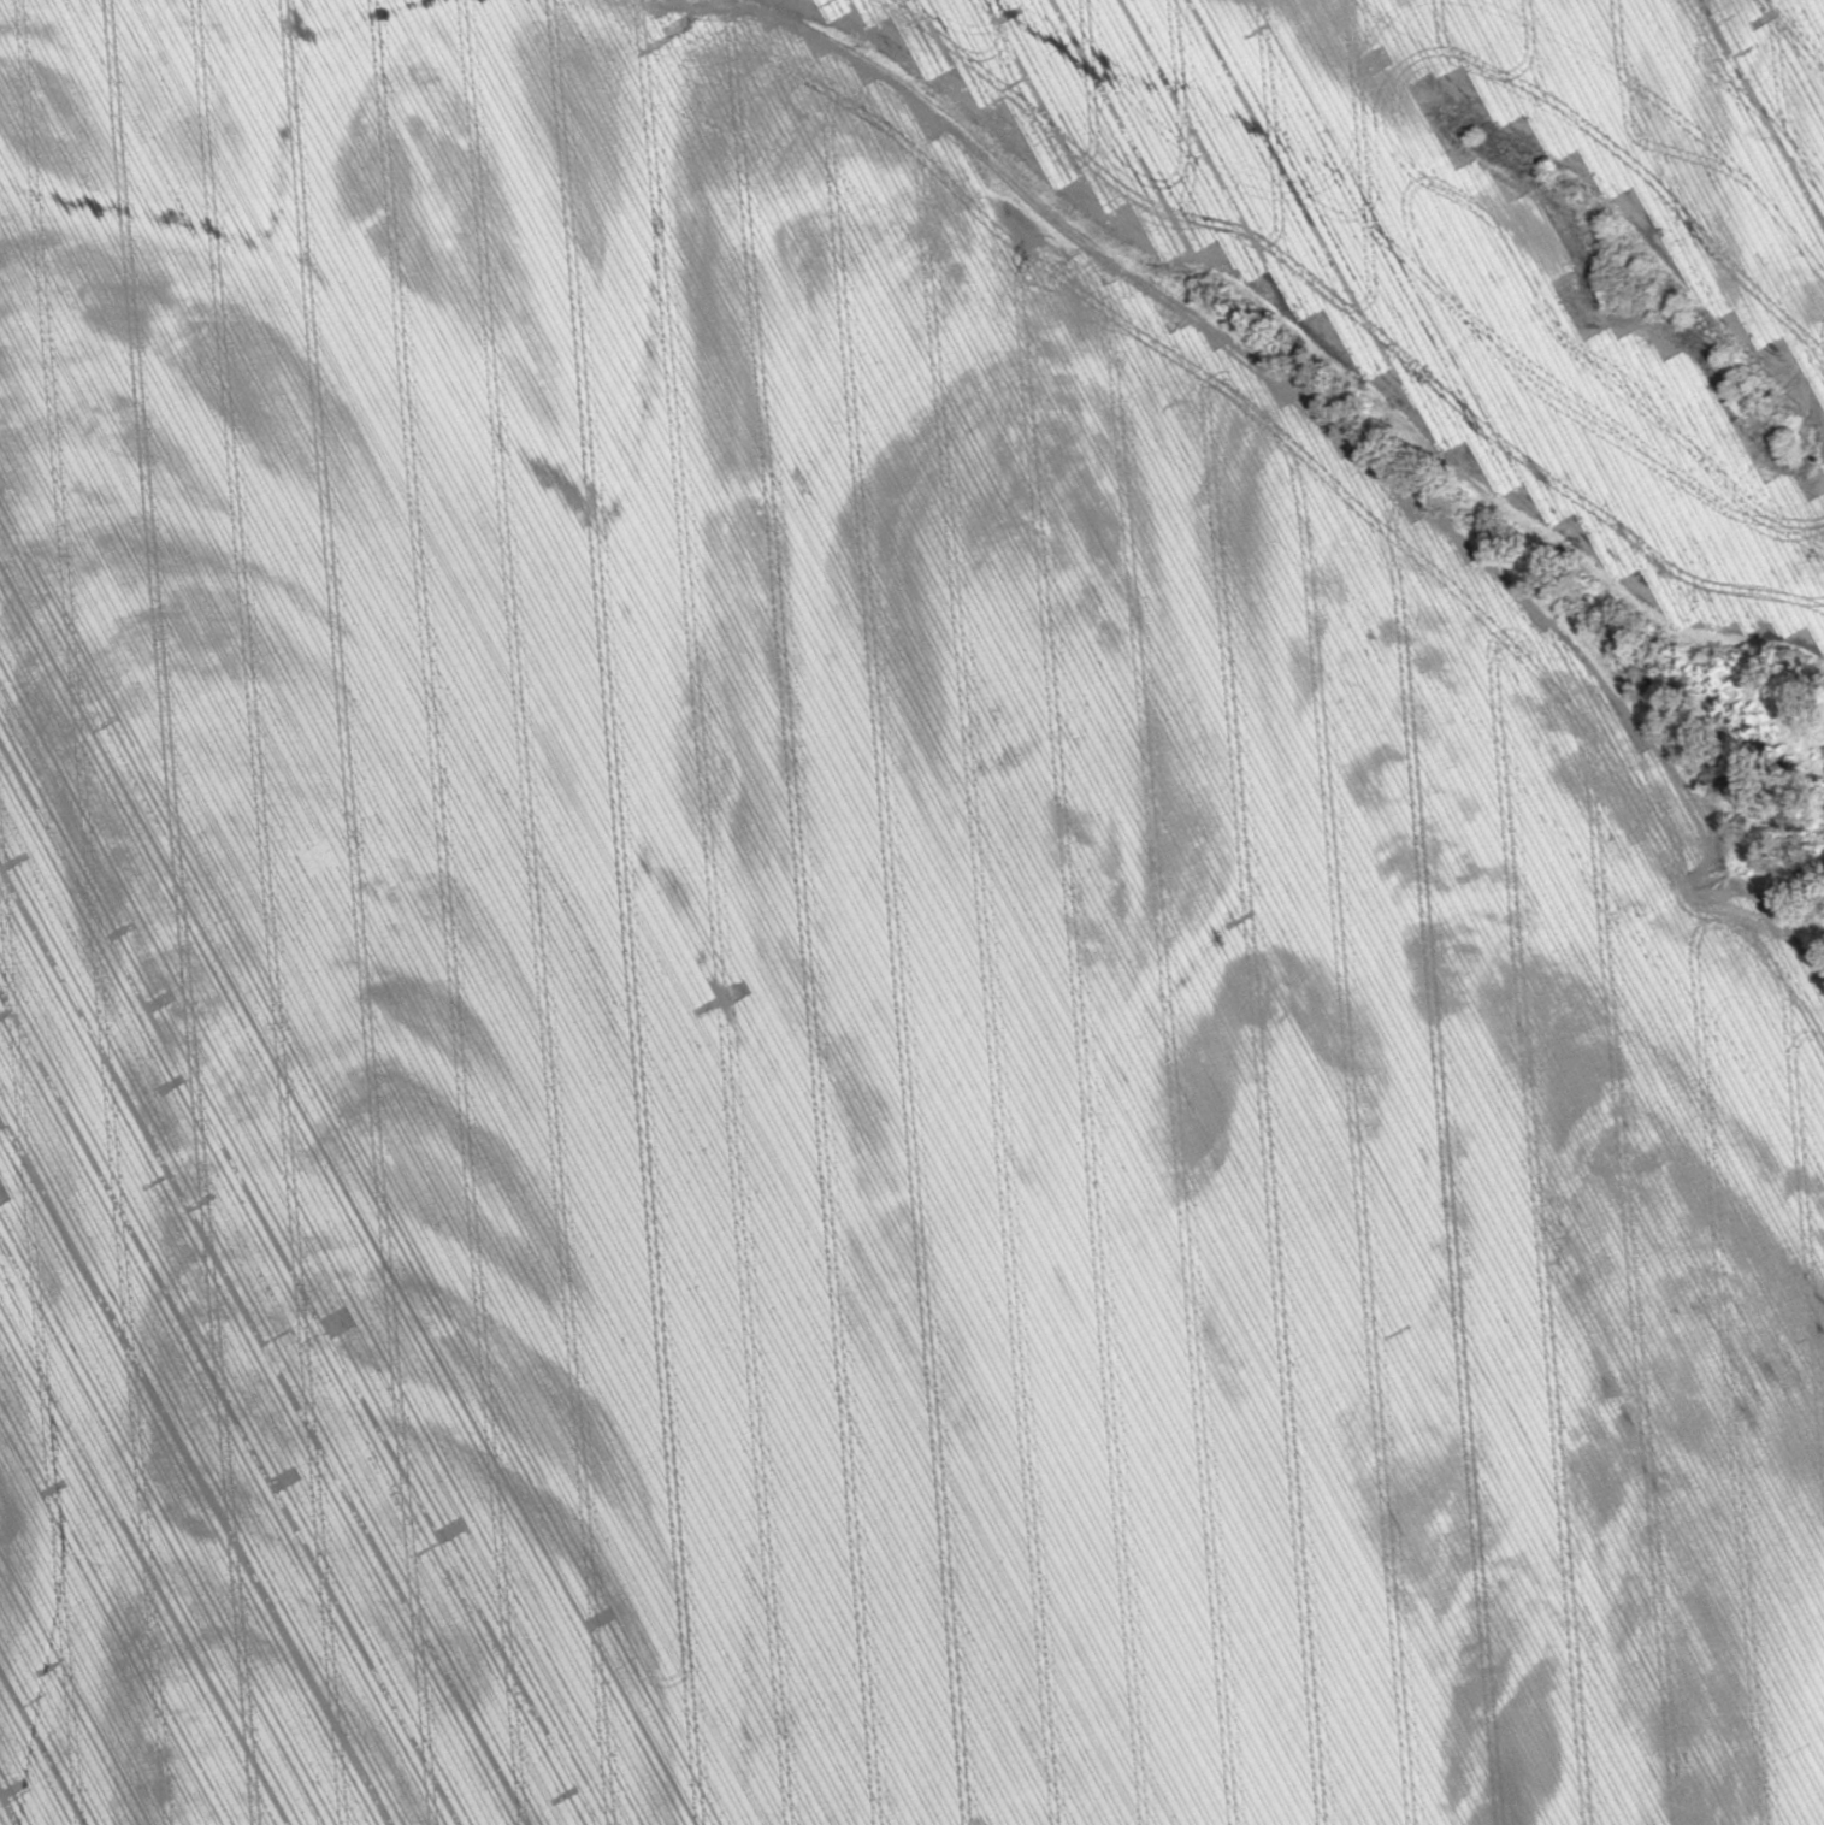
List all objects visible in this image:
road: (342, 7)
road: (1124, 277)

